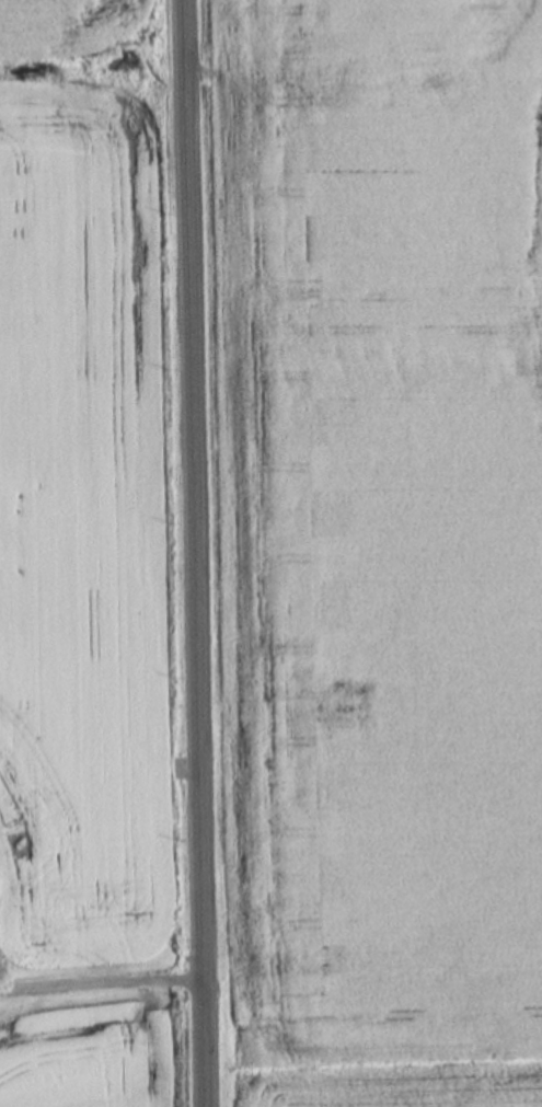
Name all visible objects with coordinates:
road: (223, 246)
road: (196, 553)
road: (103, 981)

